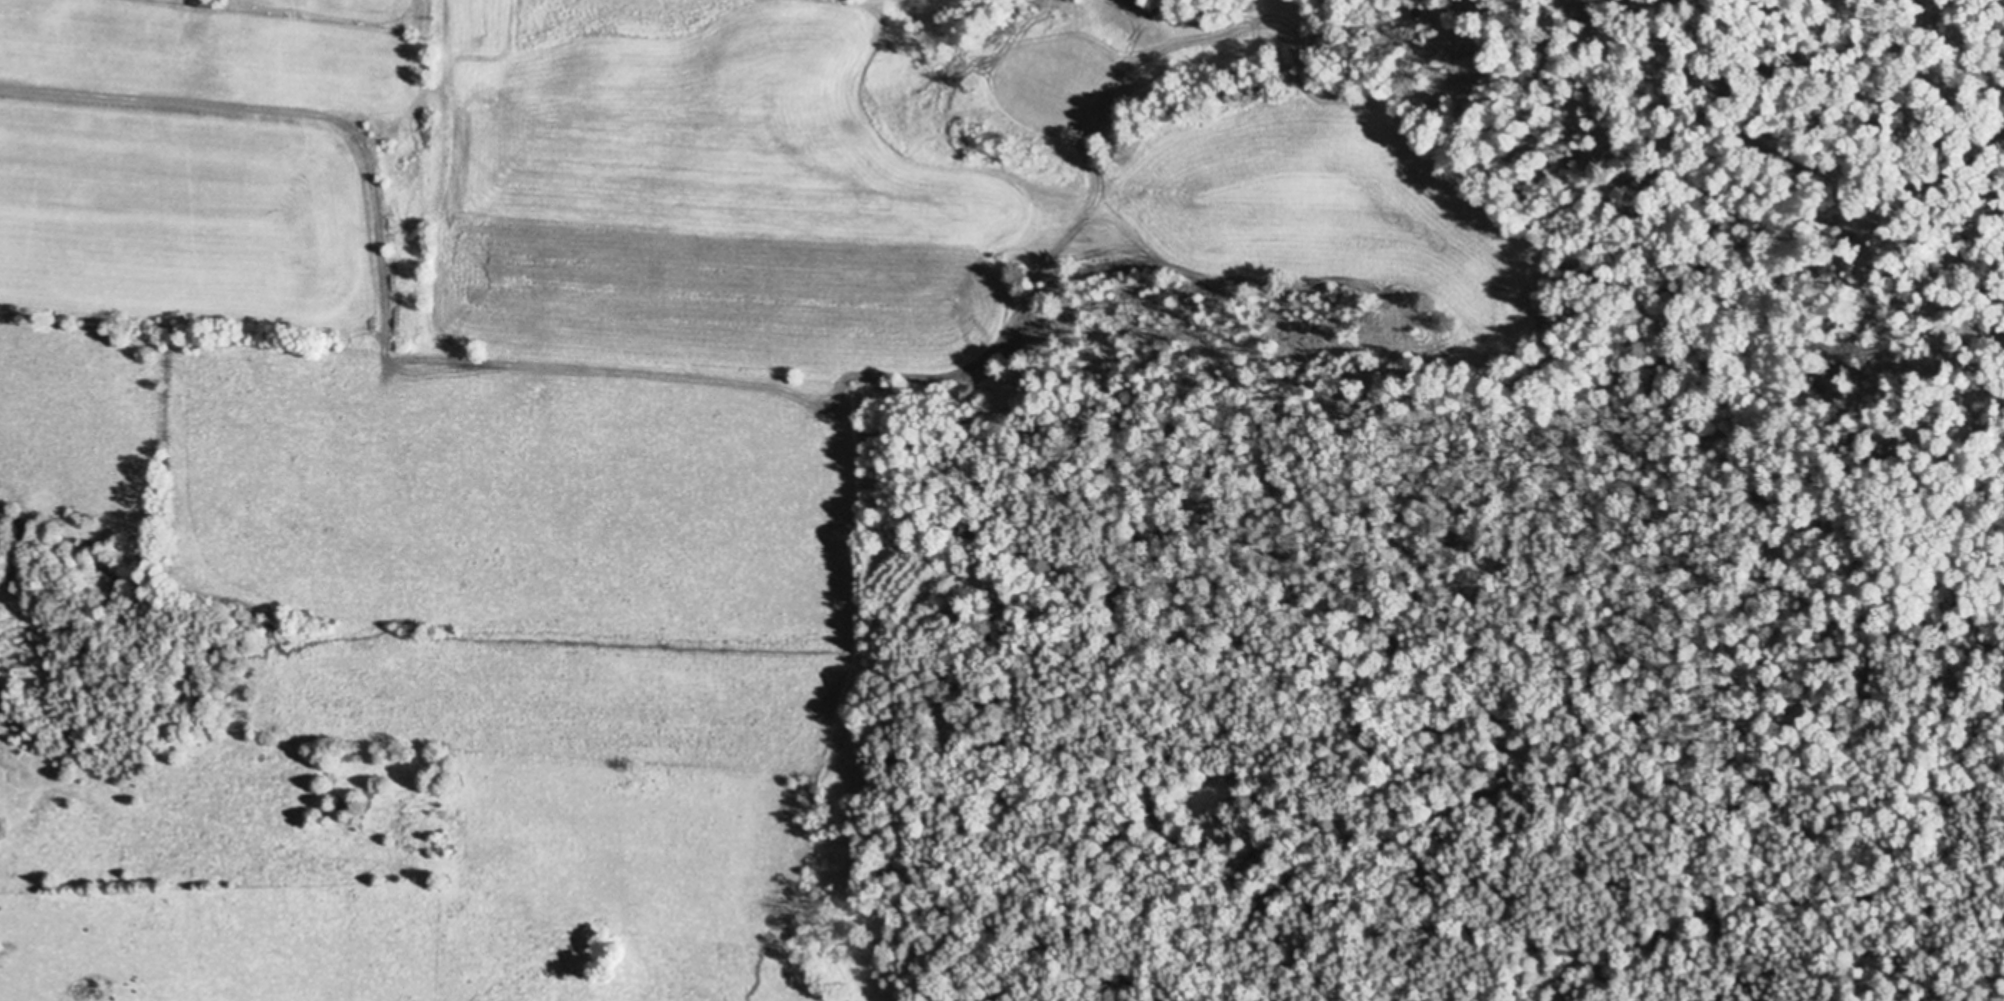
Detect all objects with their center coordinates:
road: (284, 115)

